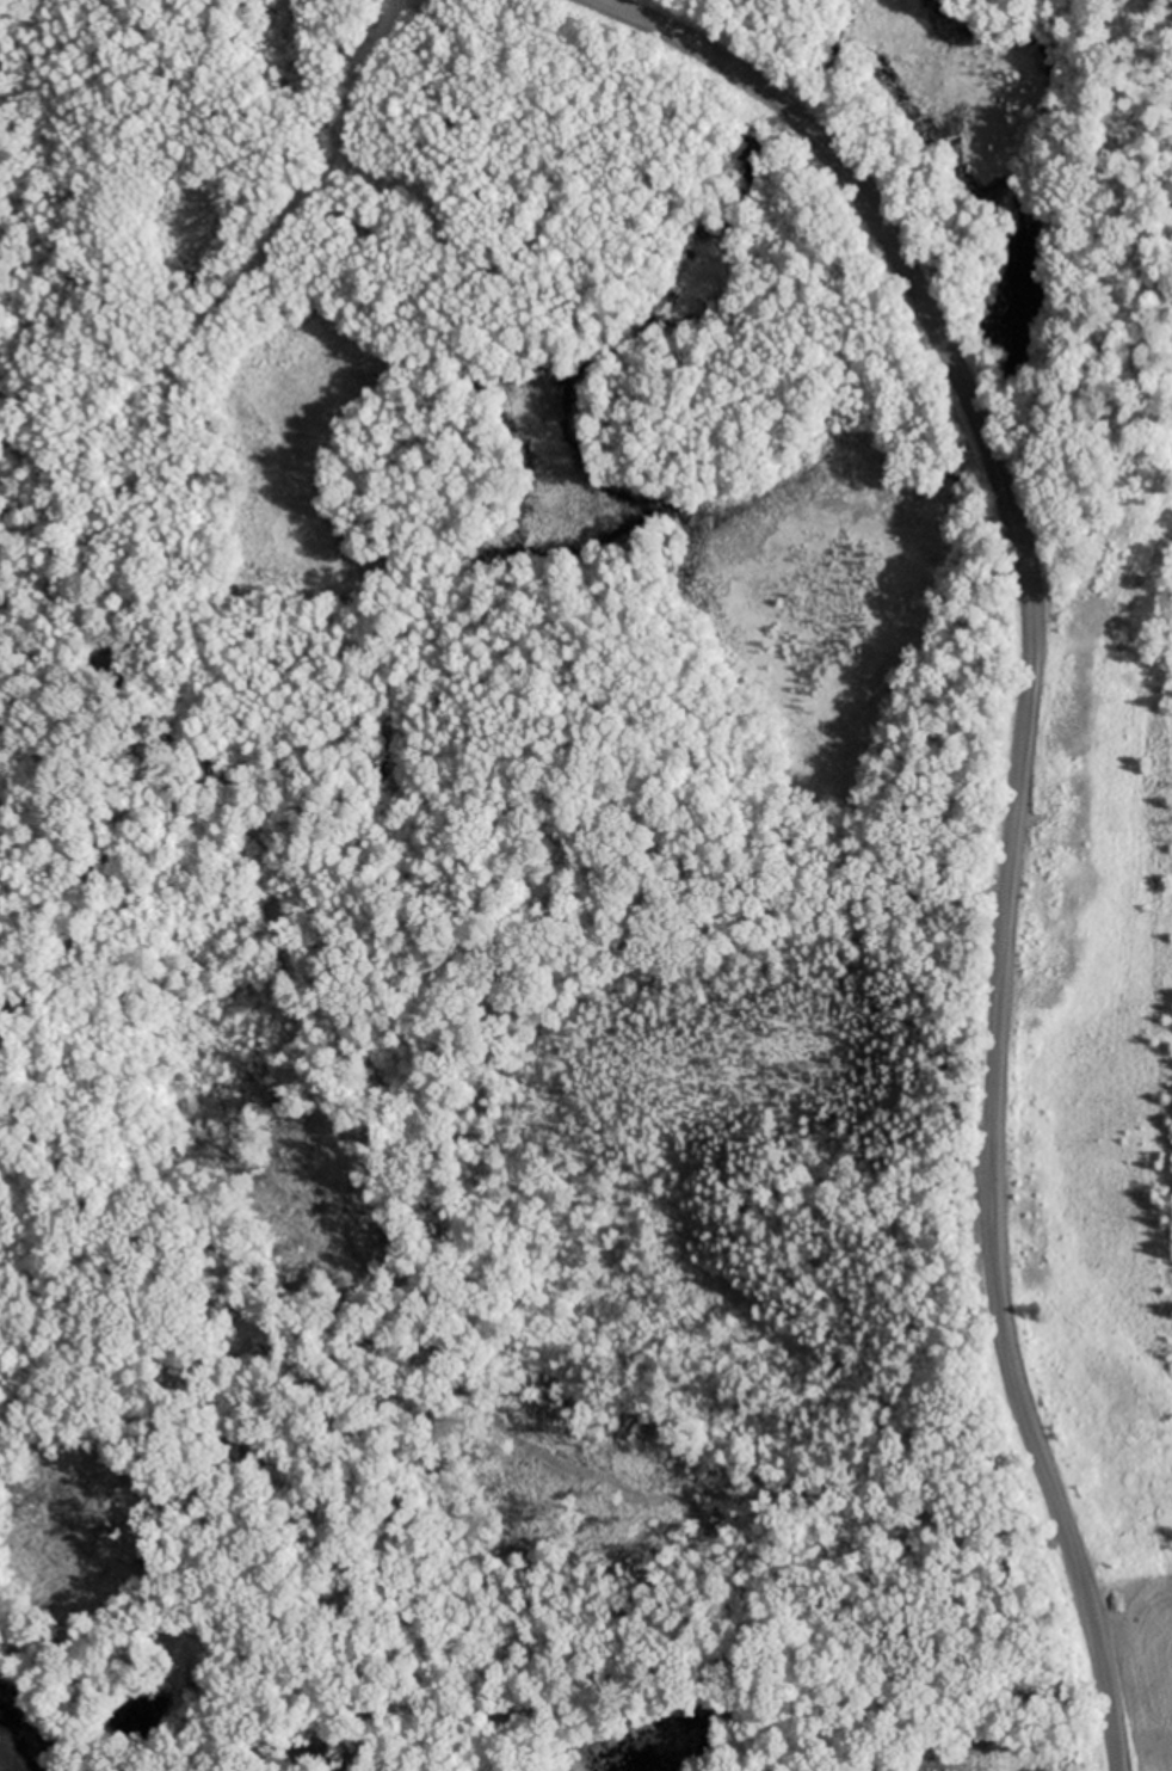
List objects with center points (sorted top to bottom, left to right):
road: (960, 374)
road: (424, 930)
road: (1010, 1343)

